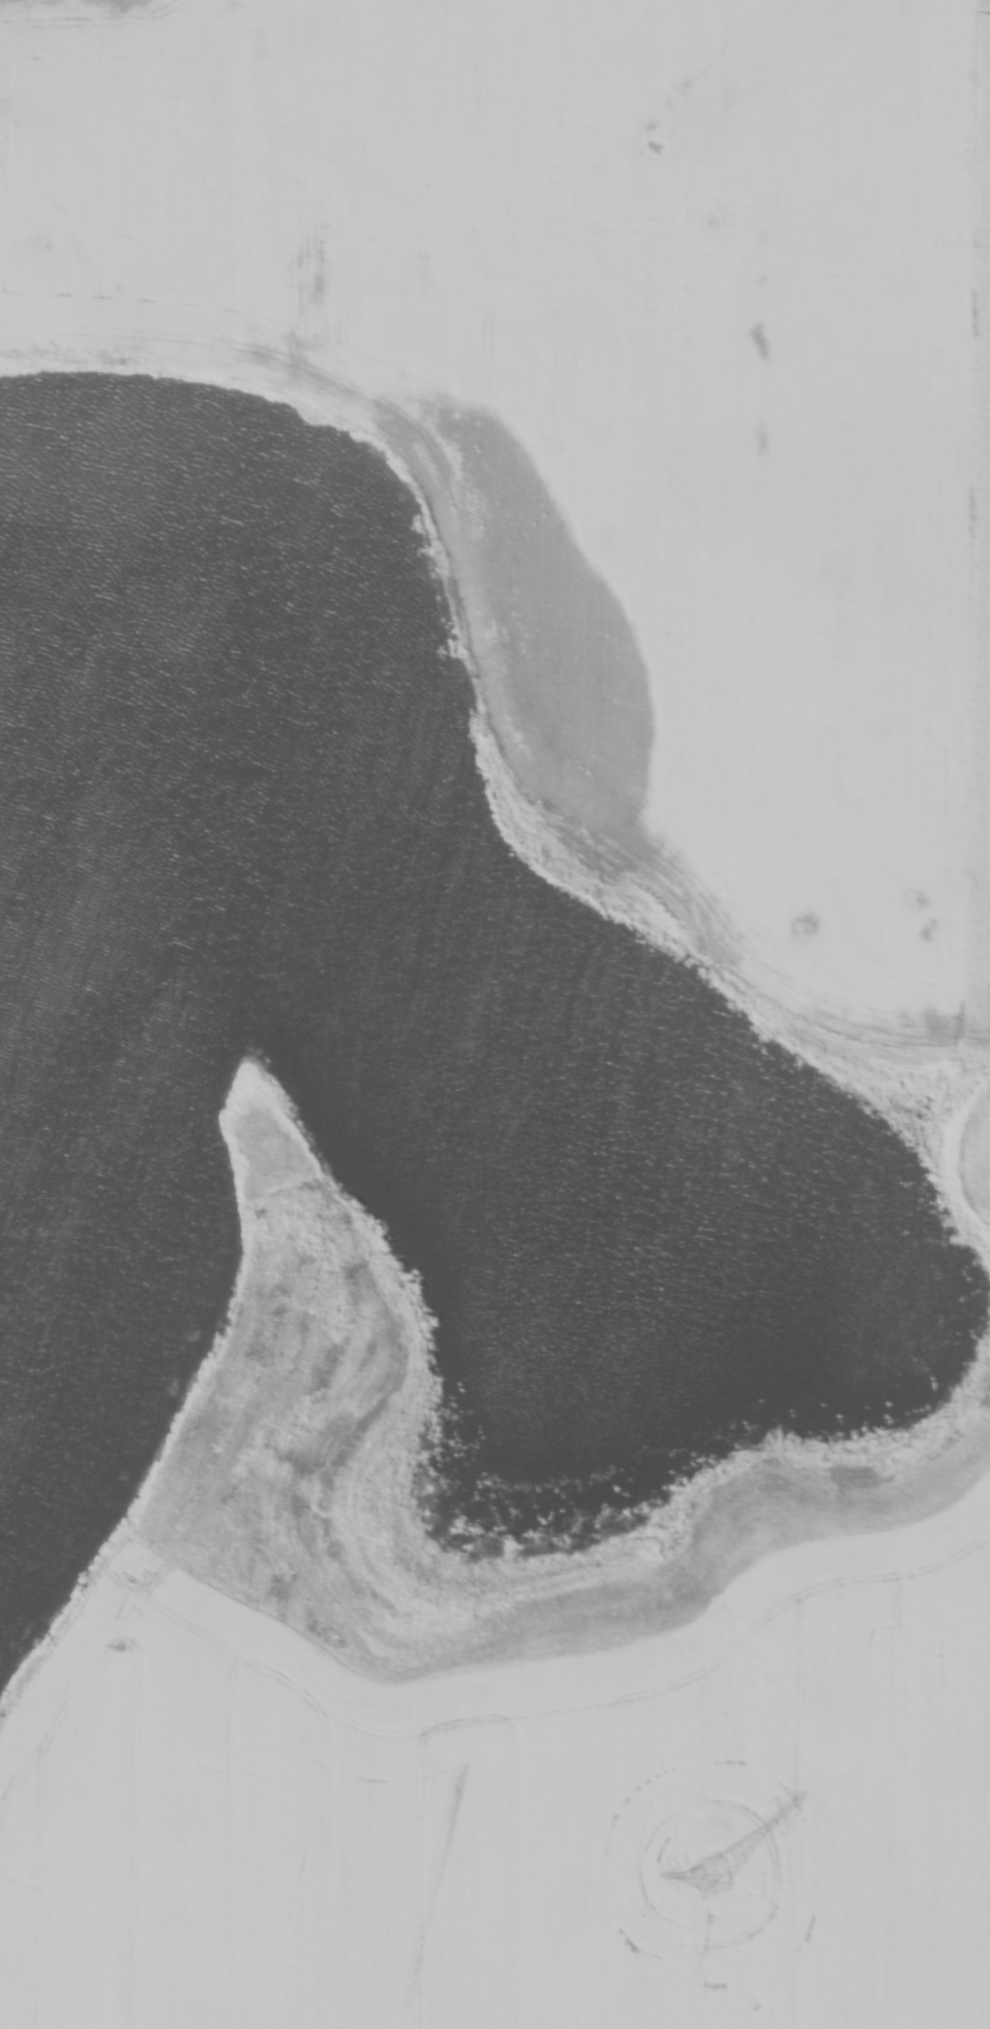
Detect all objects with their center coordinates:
power tower: (710, 1878)

